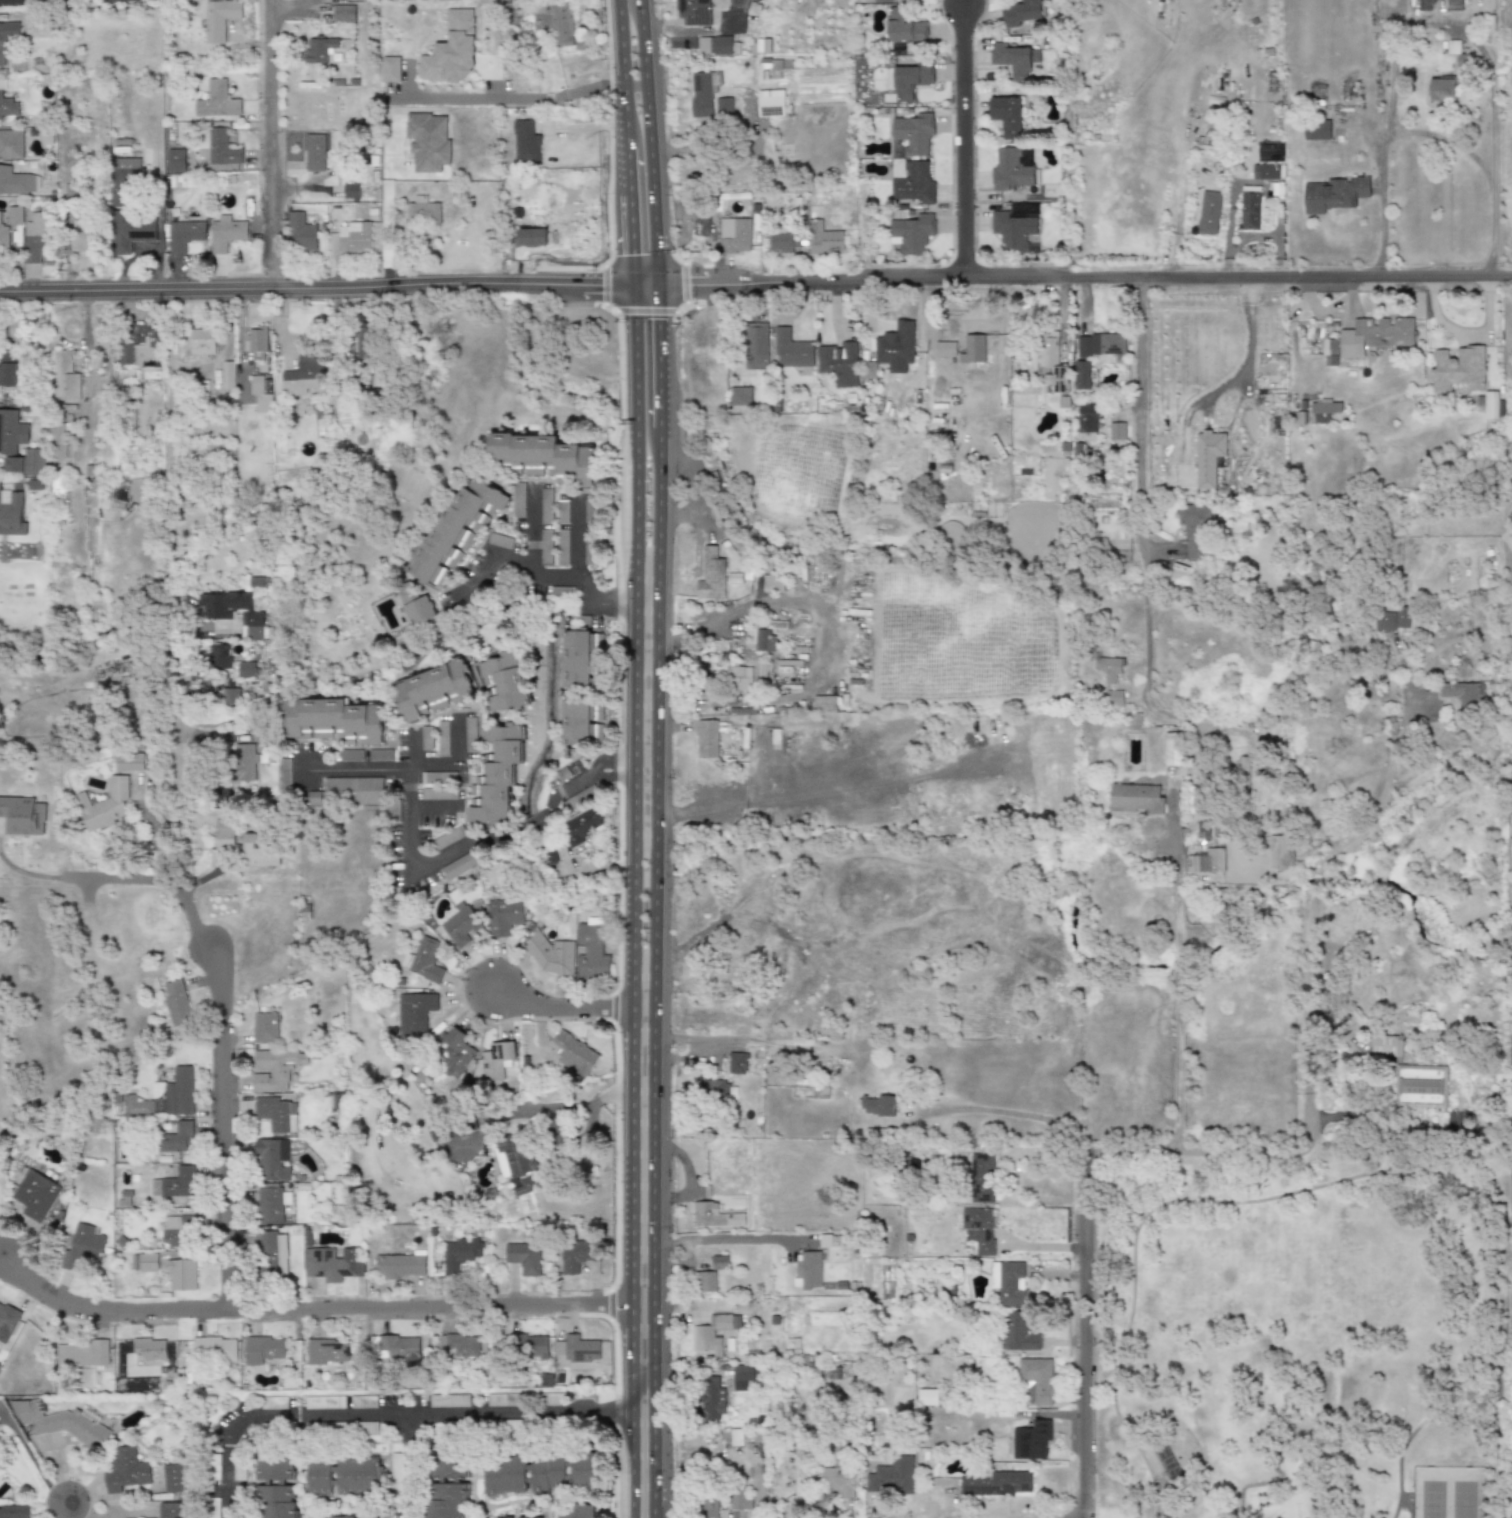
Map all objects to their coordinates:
building: (118, 0)
building: (883, 0)
building: (12, 2)
building: (721, 4)
building: (1454, 4)
building: (1424, 5)
building: (693, 11)
building: (343, 13)
building: (1022, 13)
building: (219, 18)
building: (553, 22)
road: (1435, 23)
building: (903, 26)
building: (6, 36)
building: (715, 45)
building: (318, 49)
building: (450, 51)
building: (1013, 58)
building: (390, 69)
building: (910, 79)
road: (408, 82)
building: (1440, 89)
building: (702, 92)
road: (511, 96)
building: (216, 101)
building: (723, 105)
building: (770, 106)
building: (8, 107)
building: (1006, 115)
building: (1316, 129)
building: (913, 132)
road: (1452, 139)
building: (427, 141)
road: (638, 141)
building: (525, 142)
building: (10, 143)
road: (967, 145)
road: (277, 146)
building: (220, 148)
building: (314, 152)
building: (1270, 152)
building: (175, 160)
building: (220, 167)
building: (1012, 167)
building: (1265, 171)
building: (15, 181)
building: (124, 182)
building: (1334, 193)
road: (385, 206)
building: (422, 209)
building: (1249, 210)
building: (1207, 212)
building: (14, 215)
building: (1014, 225)
building: (130, 231)
building: (225, 233)
building: (300, 233)
building: (912, 233)
building: (81, 235)
building: (183, 235)
building: (733, 235)
building: (35, 236)
building: (354, 236)
building: (531, 237)
building: (823, 238)
building: (3, 239)
building: (782, 241)
road: (1078, 284)
road: (322, 291)
building: (1374, 335)
building: (201, 341)
building: (256, 342)
building: (137, 344)
building: (1102, 344)
building: (973, 345)
building: (756, 346)
building: (896, 347)
building: (945, 348)
building: (791, 349)
building: (1048, 349)
building: (1329, 349)
building: (839, 363)
building: (8, 367)
building: (1458, 369)
building: (226, 375)
building: (1082, 375)
building: (64, 376)
building: (303, 376)
building: (1058, 379)
building: (261, 392)
building: (740, 396)
building: (1489, 404)
building: (1500, 409)
building: (1325, 411)
building: (1087, 418)
building: (11, 431)
building: (1117, 431)
building: (59, 438)
road: (168, 441)
building: (542, 456)
building: (1209, 457)
building: (27, 462)
building: (518, 500)
building: (546, 506)
building: (562, 511)
building: (589, 511)
building: (12, 512)
road: (531, 523)
road: (574, 527)
building: (455, 530)
building: (1195, 531)
building: (500, 541)
building: (546, 547)
building: (562, 547)
building: (589, 551)
road: (556, 572)
building: (711, 574)
road: (1148, 580)
building: (257, 583)
building: (771, 584)
building: (561, 591)
building: (733, 591)
building: (419, 610)
building: (219, 614)
building: (1392, 620)
building: (222, 624)
building: (763, 640)
building: (220, 656)
building: (576, 659)
building: (1108, 667)
building: (246, 669)
building: (763, 669)
building: (740, 678)
building: (503, 681)
road: (173, 684)
building: (431, 690)
building: (1464, 693)
building: (231, 696)
building: (1113, 697)
building: (824, 703)
building: (333, 721)
building: (578, 721)
building: (470, 734)
building: (427, 738)
building: (443, 738)
building: (706, 738)
road: (458, 741)
building: (1171, 748)
road: (411, 749)
building: (350, 755)
building: (380, 755)
building: (129, 761)
building: (244, 762)
road: (357, 768)
building: (566, 772)
building: (284, 774)
building: (496, 774)
building: (437, 777)
building: (353, 790)
building: (438, 794)
building: (313, 799)
building: (1134, 799)
road: (885, 801)
road: (1380, 801)
building: (104, 804)
road: (432, 806)
building: (22, 816)
building: (542, 817)
building: (579, 826)
building: (1202, 828)
building: (224, 835)
building: (448, 838)
road: (644, 846)
road: (466, 848)
building: (259, 849)
building: (1280, 851)
building: (547, 857)
building: (1206, 861)
building: (460, 865)
building: (506, 915)
building: (461, 925)
building: (591, 950)
building: (550, 955)
building: (422, 960)
road: (1179, 979)
road: (224, 1001)
building: (176, 1003)
road: (564, 1009)
building: (414, 1014)
building: (264, 1027)
road: (692, 1037)
building: (1387, 1045)
building: (455, 1052)
building: (574, 1054)
road: (679, 1059)
building: (495, 1060)
building: (736, 1063)
building: (275, 1068)
building: (1423, 1086)
building: (712, 1089)
road: (1309, 1100)
building: (136, 1105)
building: (877, 1105)
road: (544, 1110)
building: (275, 1113)
road: (1012, 1114)
building: (176, 1138)
building: (271, 1159)
building: (981, 1178)
building: (174, 1183)
building: (34, 1194)
road: (1185, 1200)
building: (270, 1204)
building: (709, 1214)
building: (979, 1229)
building: (175, 1231)
road: (720, 1239)
building: (830, 1241)
building: (82, 1247)
building: (460, 1253)
building: (576, 1254)
building: (270, 1255)
building: (523, 1257)
building: (143, 1260)
building: (718, 1262)
building: (331, 1264)
building: (399, 1265)
building: (807, 1269)
building: (180, 1274)
building: (704, 1281)
building: (1009, 1282)
road: (311, 1310)
building: (6, 1321)
road: (1090, 1331)
building: (1018, 1333)
building: (714, 1336)
park: (1311, 1338)
building: (458, 1344)
building: (524, 1344)
building: (214, 1347)
building: (149, 1348)
building: (262, 1349)
building: (580, 1349)
building: (327, 1351)
building: (82, 1353)
building: (741, 1376)
building: (1037, 1378)
road: (1455, 1383)
building: (926, 1397)
building: (710, 1399)
building: (450, 1400)
building: (503, 1400)
building: (325, 1402)
building: (275, 1403)
road: (522, 1411)
road: (271, 1417)
building: (62, 1422)
building: (369, 1426)
building: (735, 1437)
building: (1030, 1440)
road: (642, 1463)
road: (405, 1465)
building: (214, 1467)
building: (125, 1470)
building: (397, 1472)
building: (563, 1473)
building: (838, 1473)
building: (506, 1475)
building: (360, 1476)
building: (173, 1477)
building: (891, 1477)
building: (321, 1478)
road: (1256, 1482)
building: (997, 1483)
building: (448, 1486)
building: (276, 1487)
road: (1313, 1488)
building: (739, 1500)
road: (1411, 1503)
building: (708, 1505)
building: (214, 1508)
building: (171, 1509)
building: (576, 1511)
building: (13, 1512)
road: (63, 1513)
building: (343, 1517)

